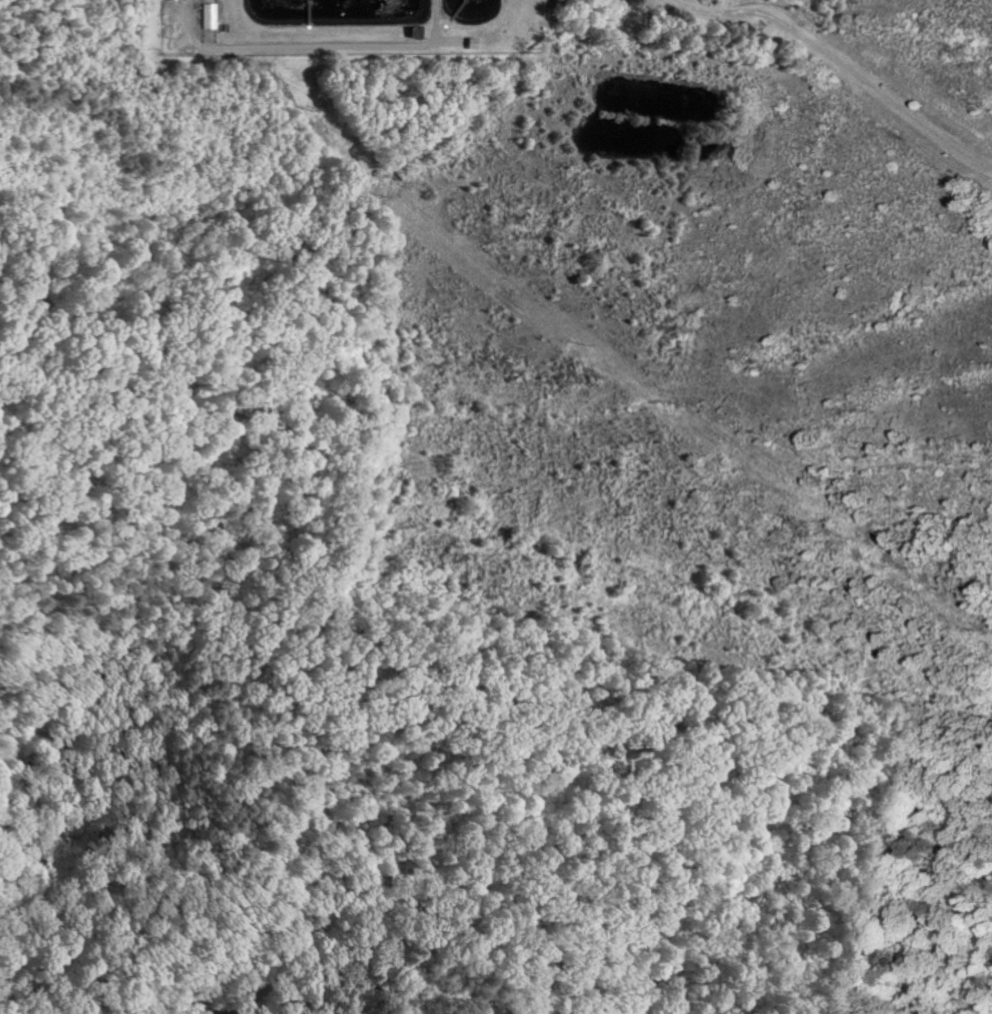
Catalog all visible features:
building: (214, 13)

